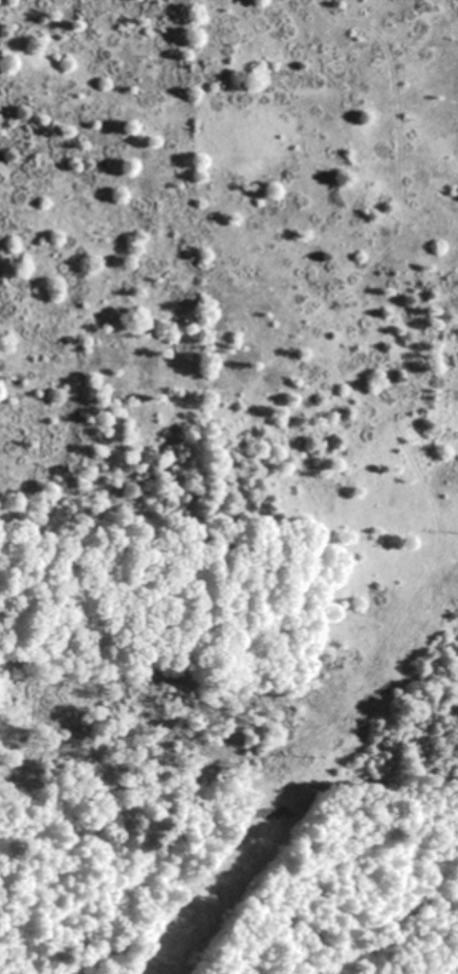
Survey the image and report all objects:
power tower: (313, 757)
power tower: (165, 966)

